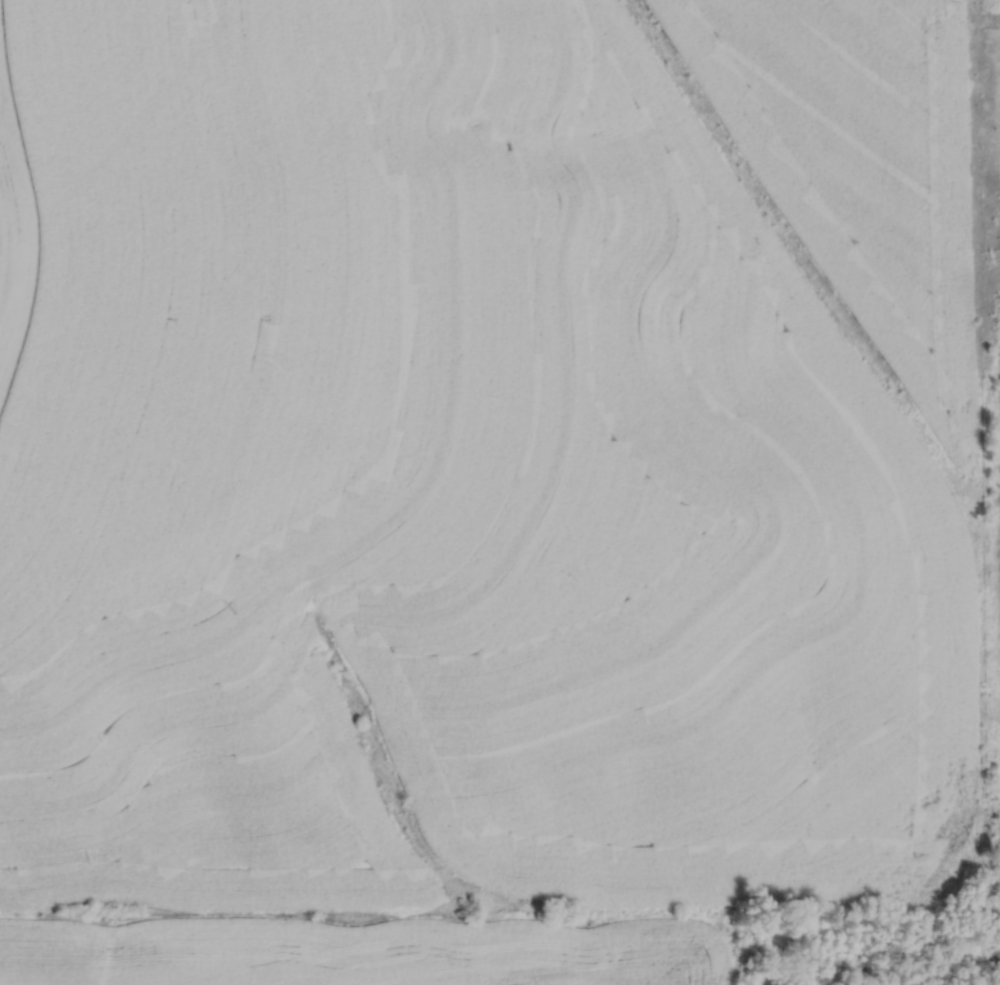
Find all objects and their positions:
road: (990, 18)

